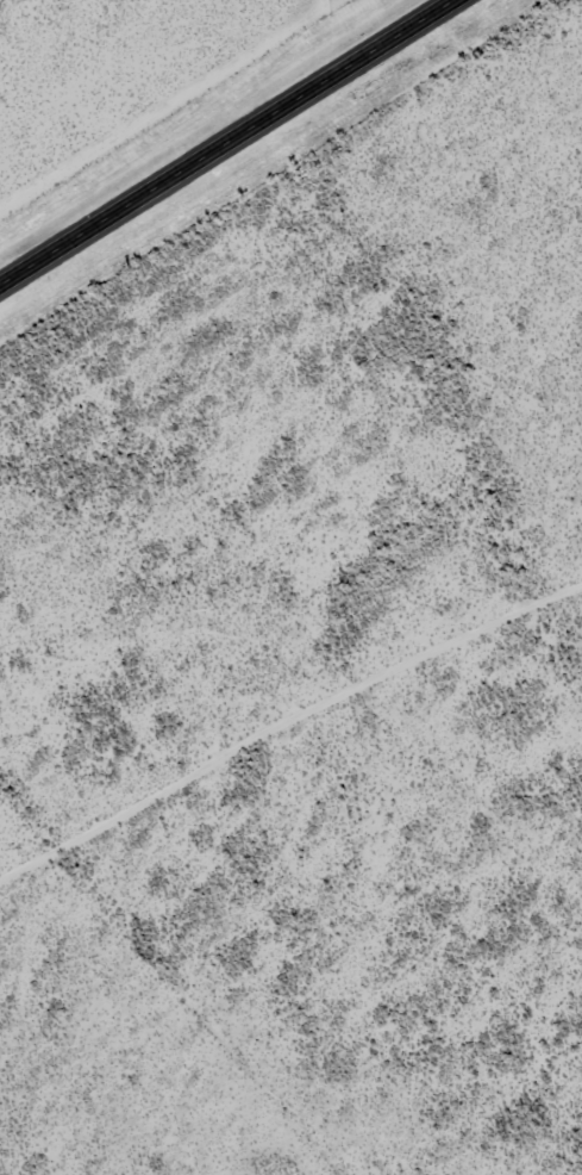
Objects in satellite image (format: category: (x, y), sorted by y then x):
road: (220, 138)

